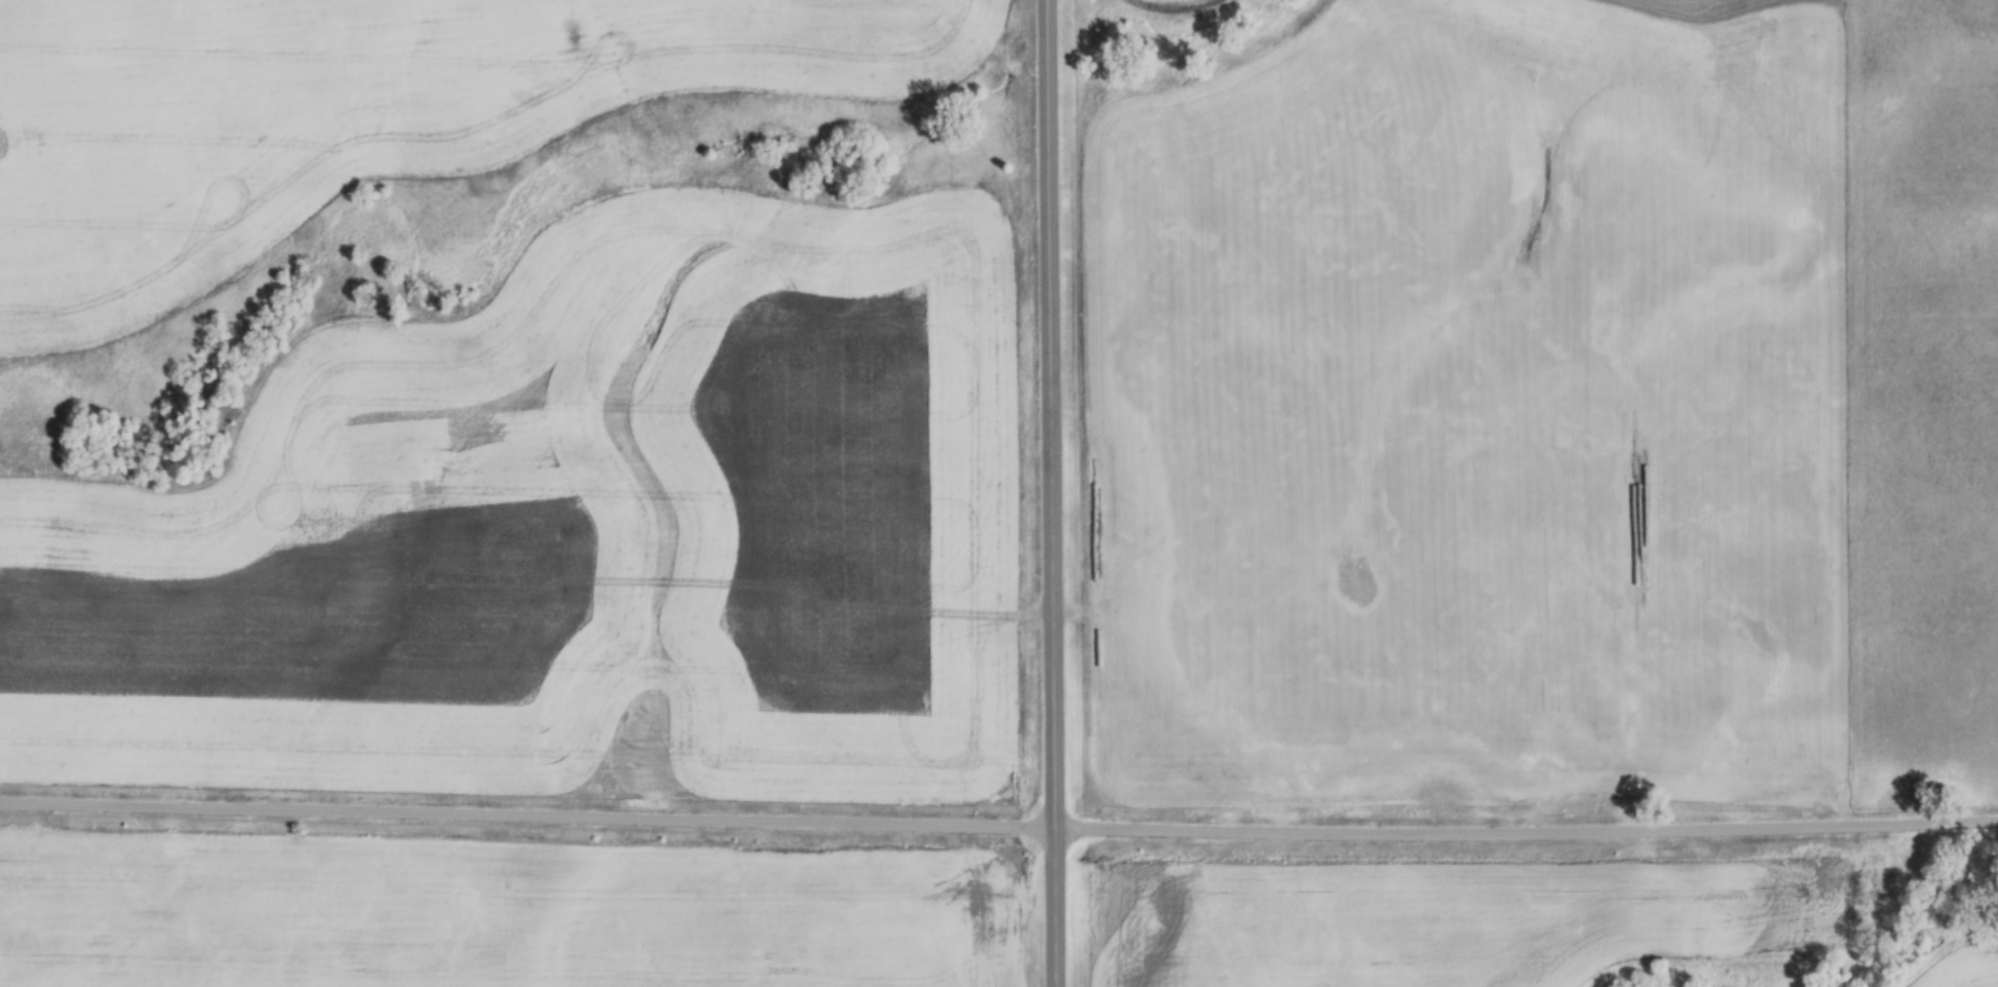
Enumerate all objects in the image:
road: (1052, 493)
road: (998, 826)

